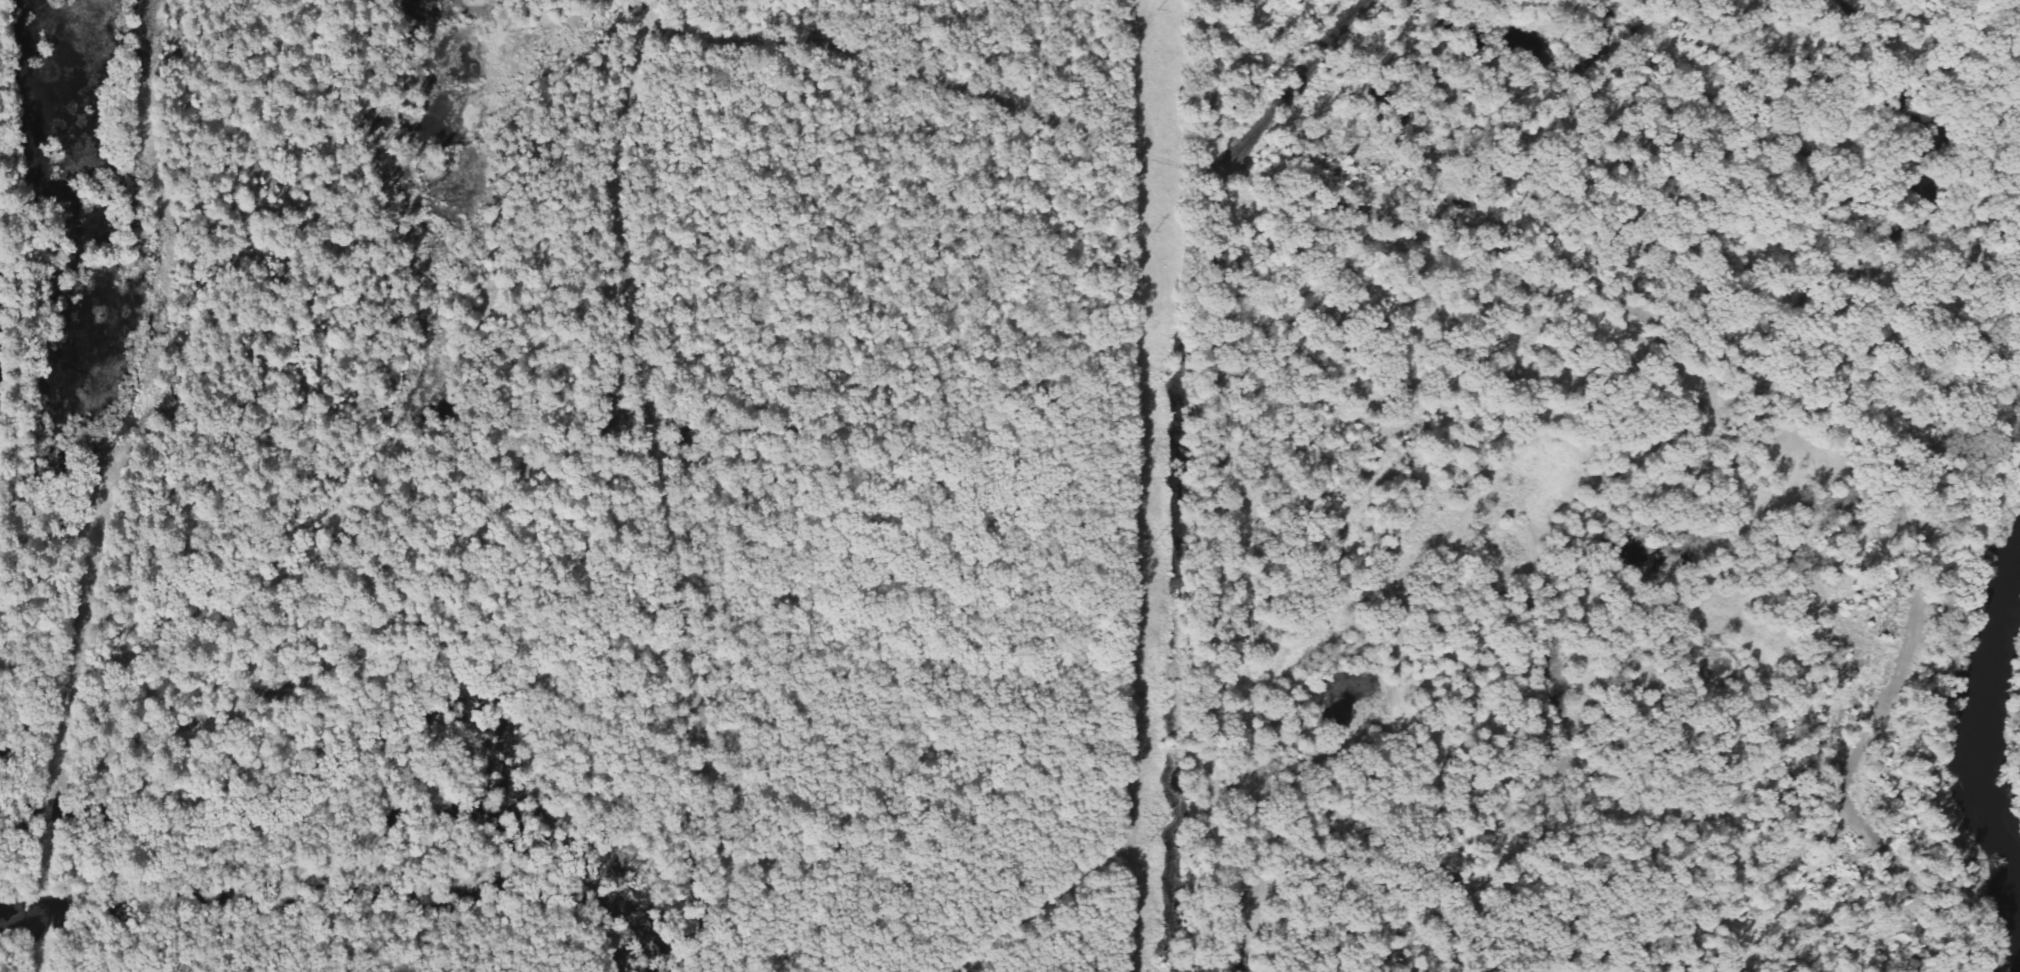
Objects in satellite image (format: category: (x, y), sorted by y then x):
road: (661, 486)
river: (1988, 727)

